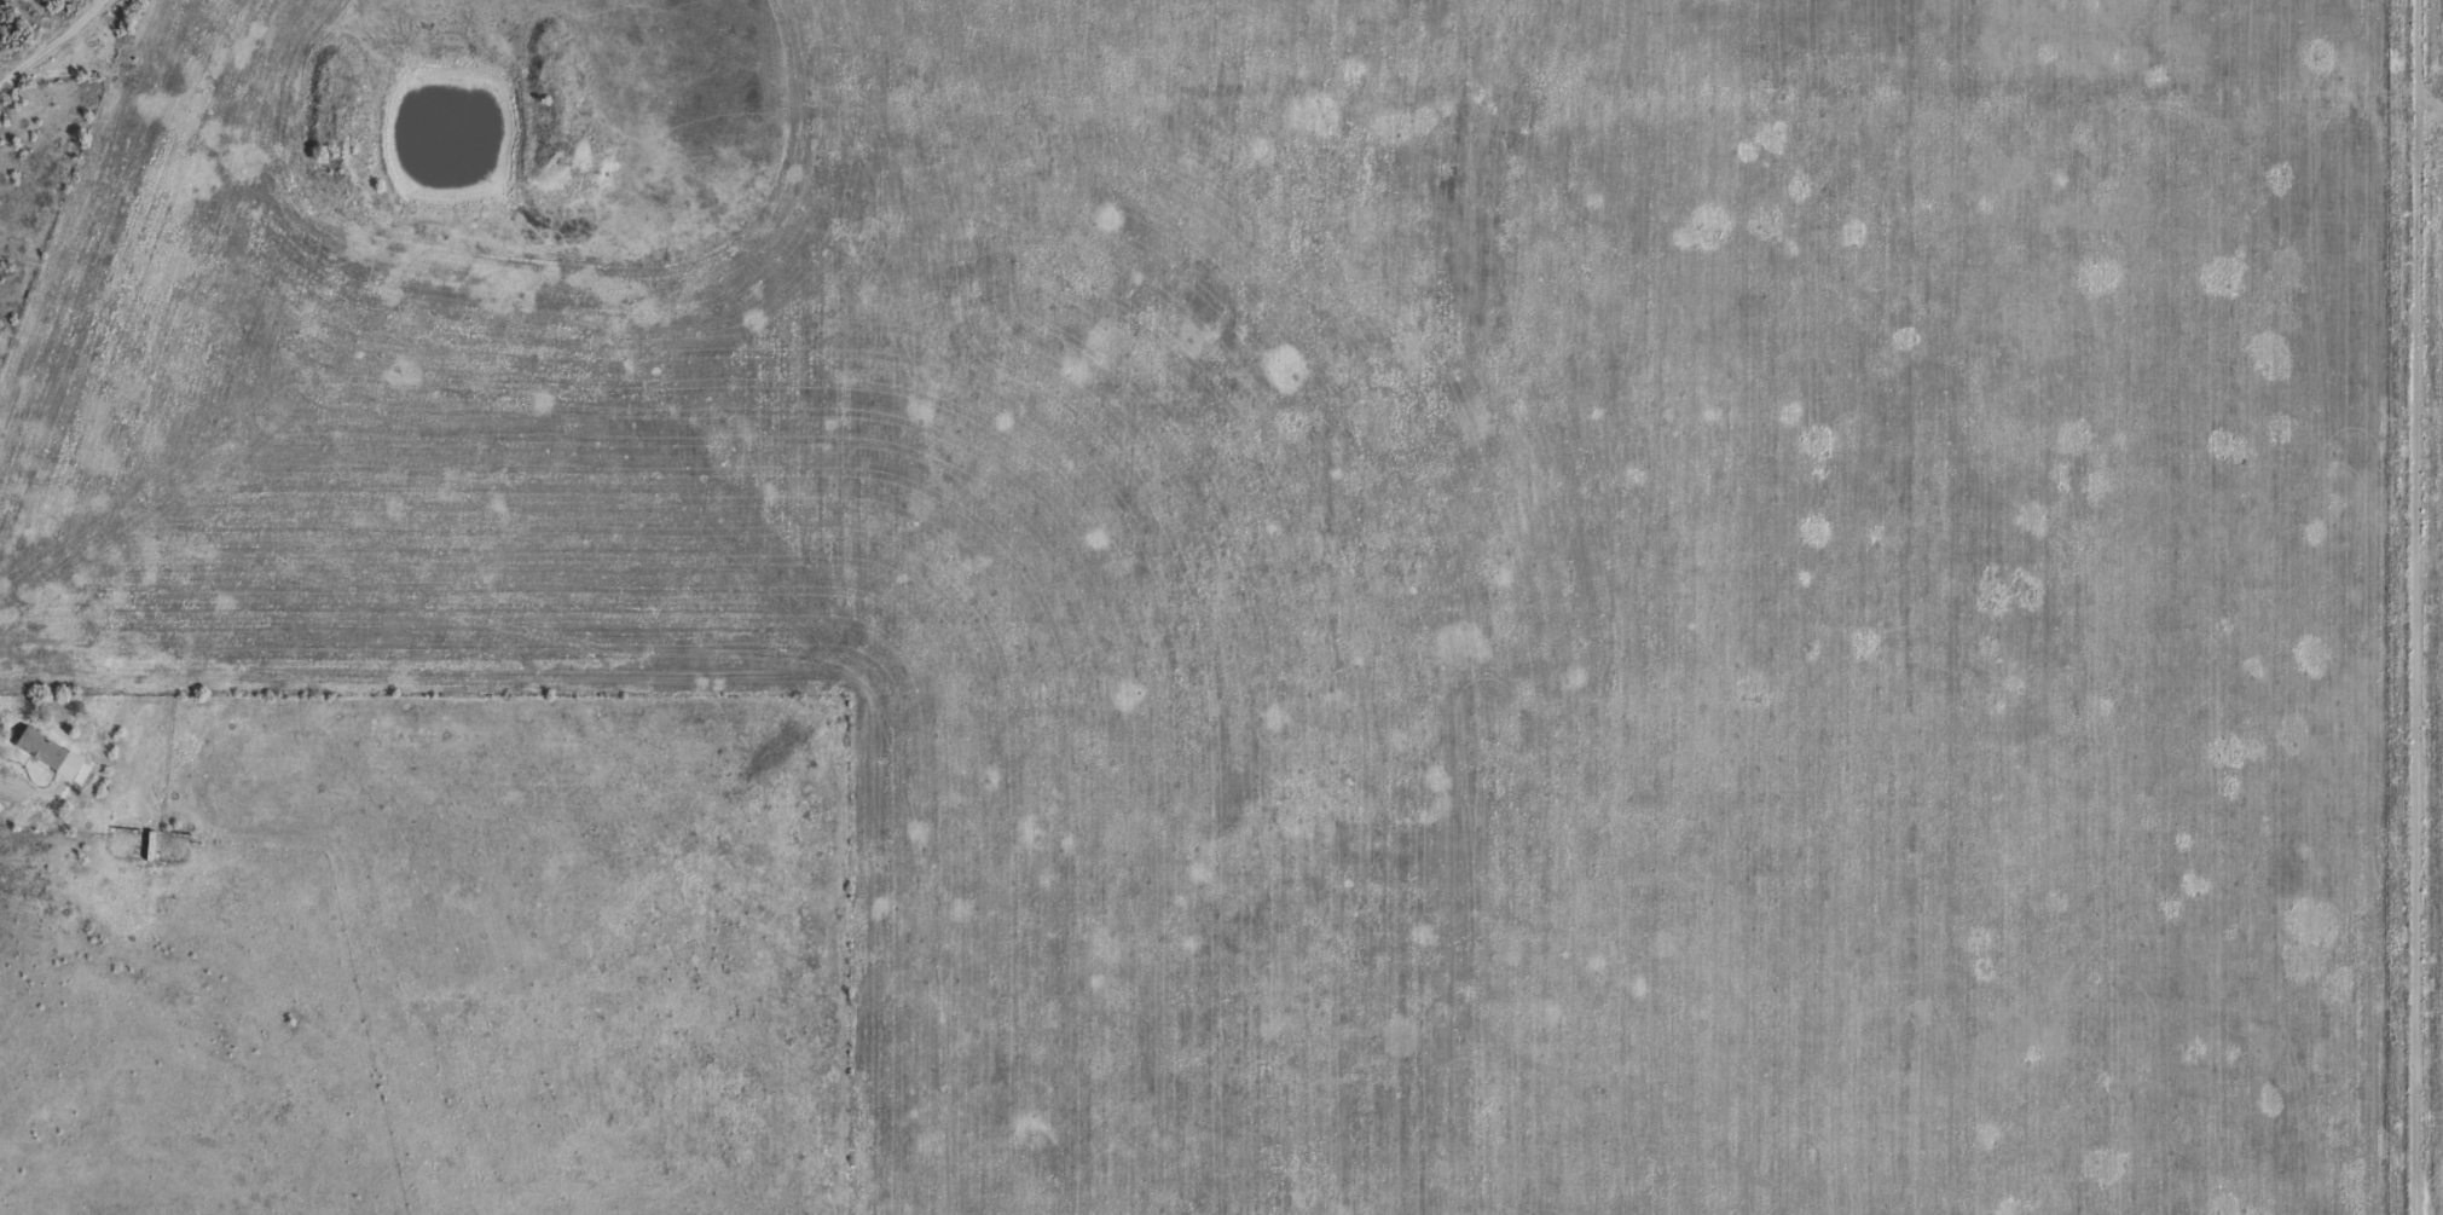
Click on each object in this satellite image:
road: (2422, 607)
building: (58, 751)
road: (21, 786)

